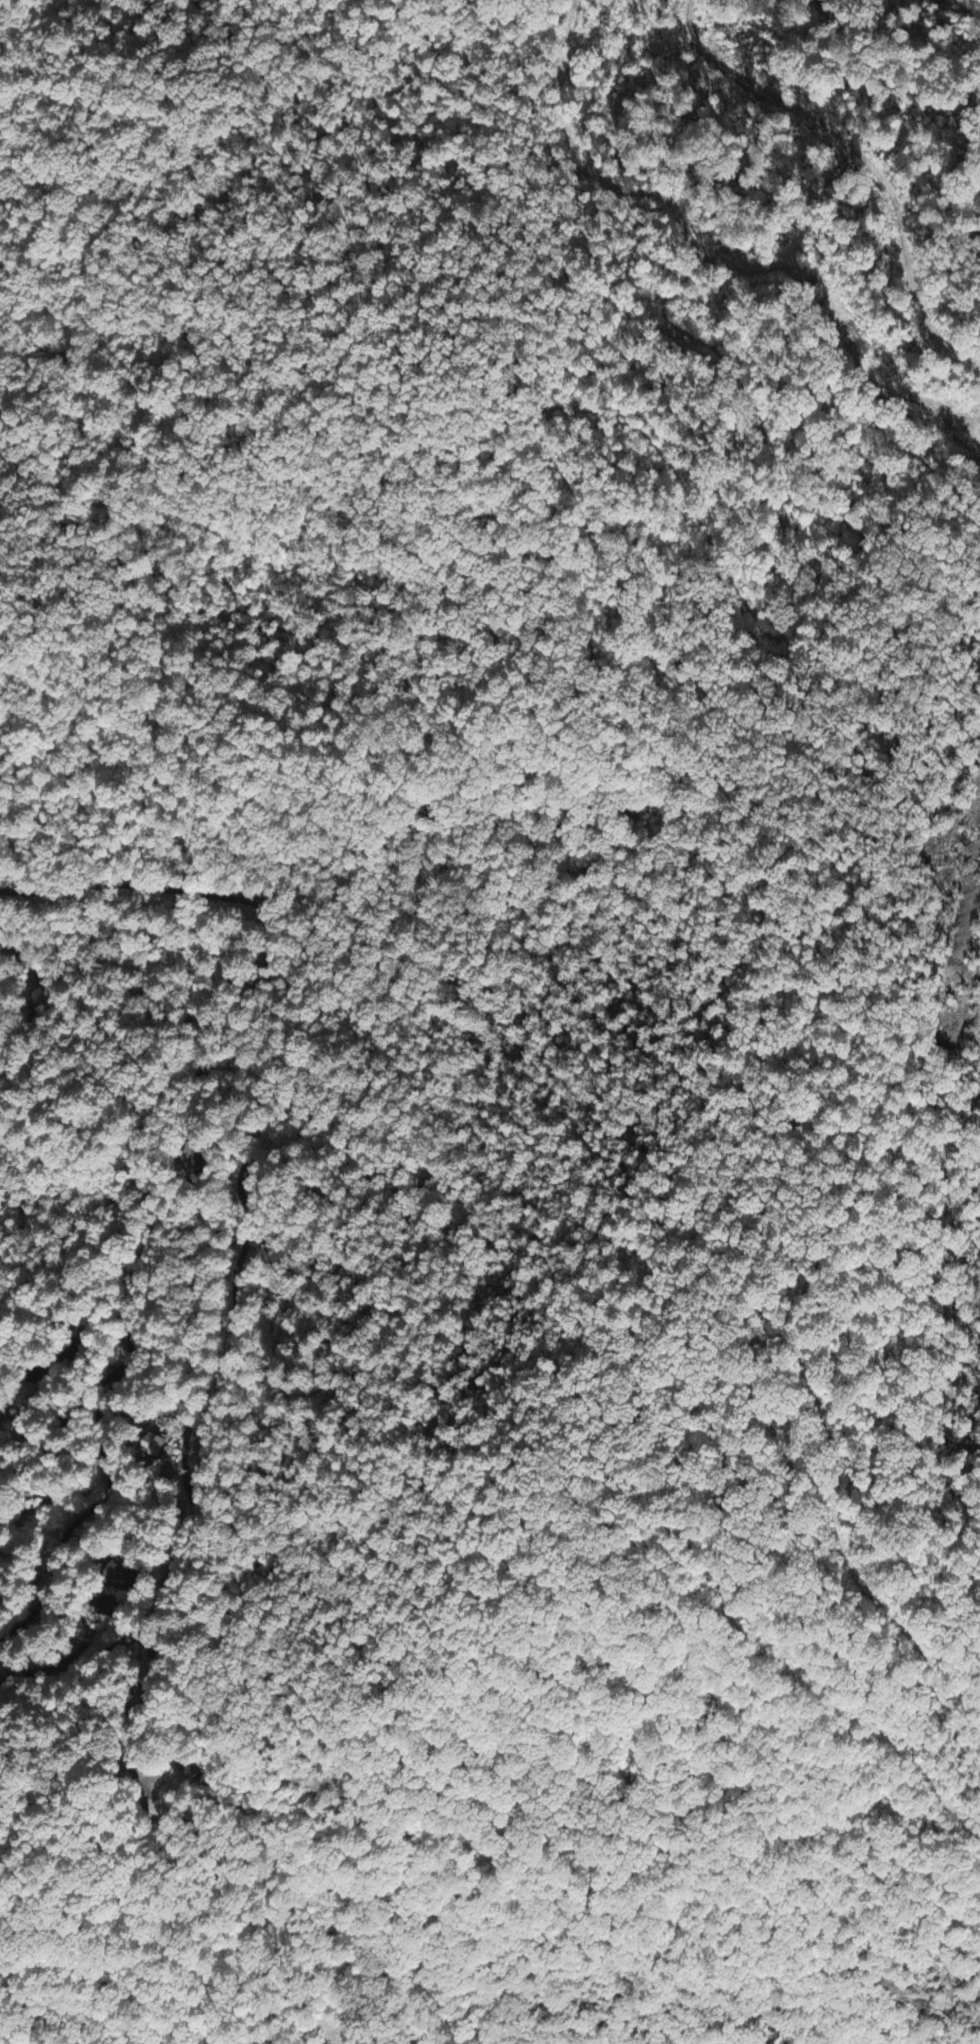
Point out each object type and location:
road: (34, 994)
road: (135, 1137)
road: (190, 1411)
building: (115, 1575)
road: (147, 1637)
building: (187, 1771)

